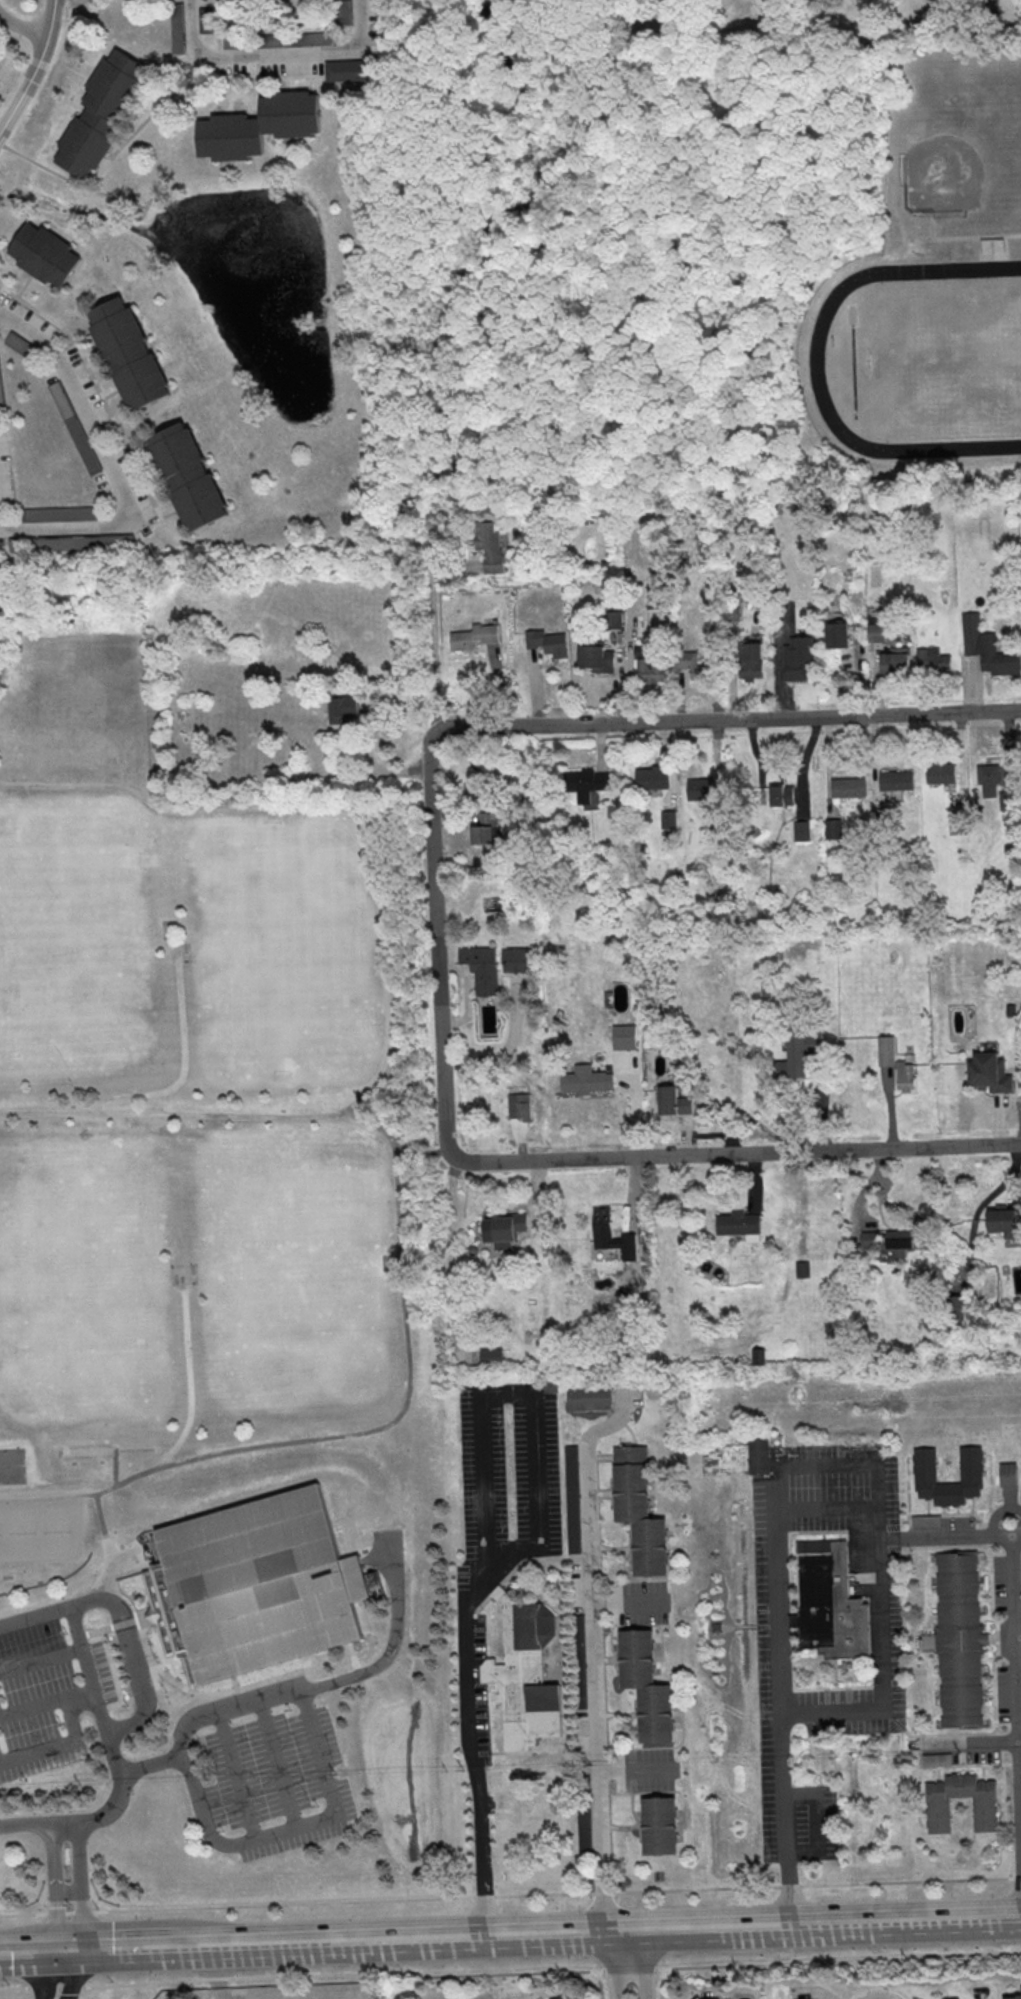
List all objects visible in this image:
building: (343, 12)
building: (206, 19)
road: (22, 26)
building: (178, 27)
building: (279, 39)
road: (276, 55)
road: (35, 68)
building: (348, 69)
building: (106, 113)
building: (259, 125)
park: (961, 150)
road: (657, 238)
road: (963, 238)
stadium: (994, 247)
building: (50, 255)
building: (20, 344)
building: (126, 352)
park: (945, 357)
park: (922, 360)
road: (452, 409)
road: (404, 413)
building: (75, 427)
road: (672, 454)
road: (114, 470)
building: (186, 474)
building: (59, 513)
building: (71, 542)
building: (490, 545)
building: (654, 596)
building: (615, 619)
building: (873, 627)
building: (835, 634)
building: (471, 636)
road: (432, 639)
building: (545, 642)
building: (985, 647)
building: (593, 653)
road: (10, 655)
building: (795, 657)
building: (748, 659)
building: (893, 660)
building: (933, 660)
building: (651, 661)
building: (690, 664)
road: (497, 684)
road: (534, 686)
building: (342, 708)
road: (750, 718)
road: (600, 747)
road: (715, 762)
road: (373, 771)
building: (938, 772)
building: (986, 773)
building: (650, 778)
building: (893, 779)
building: (584, 782)
building: (845, 786)
building: (698, 789)
building: (779, 795)
building: (1005, 800)
road: (336, 807)
building: (716, 815)
building: (666, 819)
building: (879, 823)
building: (956, 823)
building: (830, 828)
building: (799, 829)
building: (483, 834)
park: (279, 885)
road: (408, 903)
road: (436, 921)
stadium: (167, 932)
park: (72, 939)
stadium: (389, 941)
stadium: (186, 950)
building: (517, 960)
building: (479, 968)
park: (286, 1007)
building: (621, 1036)
building: (883, 1050)
building: (795, 1053)
road: (184, 1056)
building: (987, 1072)
building: (902, 1075)
building: (583, 1080)
road: (632, 1101)
building: (670, 1101)
building: (519, 1106)
road: (887, 1106)
road: (174, 1114)
road: (997, 1119)
road: (684, 1134)
road: (422, 1150)
road: (734, 1153)
road: (973, 1214)
park: (73, 1219)
building: (602, 1222)
building: (999, 1222)
park: (287, 1223)
building: (735, 1223)
building: (501, 1228)
building: (869, 1239)
building: (899, 1242)
building: (637, 1257)
stadium: (388, 1263)
building: (951, 1308)
park: (213, 1317)
park: (53, 1343)
park: (294, 1346)
building: (758, 1355)
building: (492, 1356)
road: (190, 1370)
building: (551, 1387)
building: (590, 1397)
road: (364, 1433)
building: (759, 1457)
building: (970, 1464)
road: (116, 1465)
park: (12, 1466)
building: (1008, 1473)
building: (571, 1477)
road: (776, 1478)
road: (825, 1507)
building: (639, 1510)
building: (925, 1521)
park: (40, 1529)
road: (949, 1536)
road: (483, 1545)
road: (107, 1548)
road: (135, 1560)
building: (255, 1587)
stadium: (255, 1587)
building: (830, 1603)
road: (49, 1614)
road: (396, 1634)
building: (959, 1639)
road: (41, 1660)
road: (354, 1661)
road: (148, 1663)
road: (1016, 1664)
road: (88, 1670)
building: (525, 1676)
road: (176, 1682)
building: (646, 1684)
road: (595, 1686)
parking lot: (56, 1691)
road: (144, 1698)
road: (47, 1704)
road: (233, 1706)
road: (1020, 1740)
road: (67, 1742)
road: (968, 1742)
road: (278, 1765)
road: (148, 1766)
parking lot: (265, 1771)
road: (237, 1776)
building: (984, 1813)
road: (818, 1822)
road: (69, 1823)
building: (659, 1825)
road: (297, 1829)
road: (79, 1887)
road: (66, 1895)
road: (510, 1895)
road: (53, 1909)
road: (814, 1923)
road: (409, 1944)
road: (199, 1952)
road: (65, 1953)
traffic signals: (79, 1953)
road: (124, 1953)
road: (179, 1953)
traffic signals: (51, 1954)
road: (25, 1955)
road: (642, 1964)
road: (618, 1968)
road: (510, 1972)
road: (72, 1975)
road: (659, 1983)
road: (598, 1985)
road: (877, 1987)
park: (253, 1994)
building: (1012, 1997)
building: (710, 1998)
road: (878, 1998)
building: (951, 1998)

